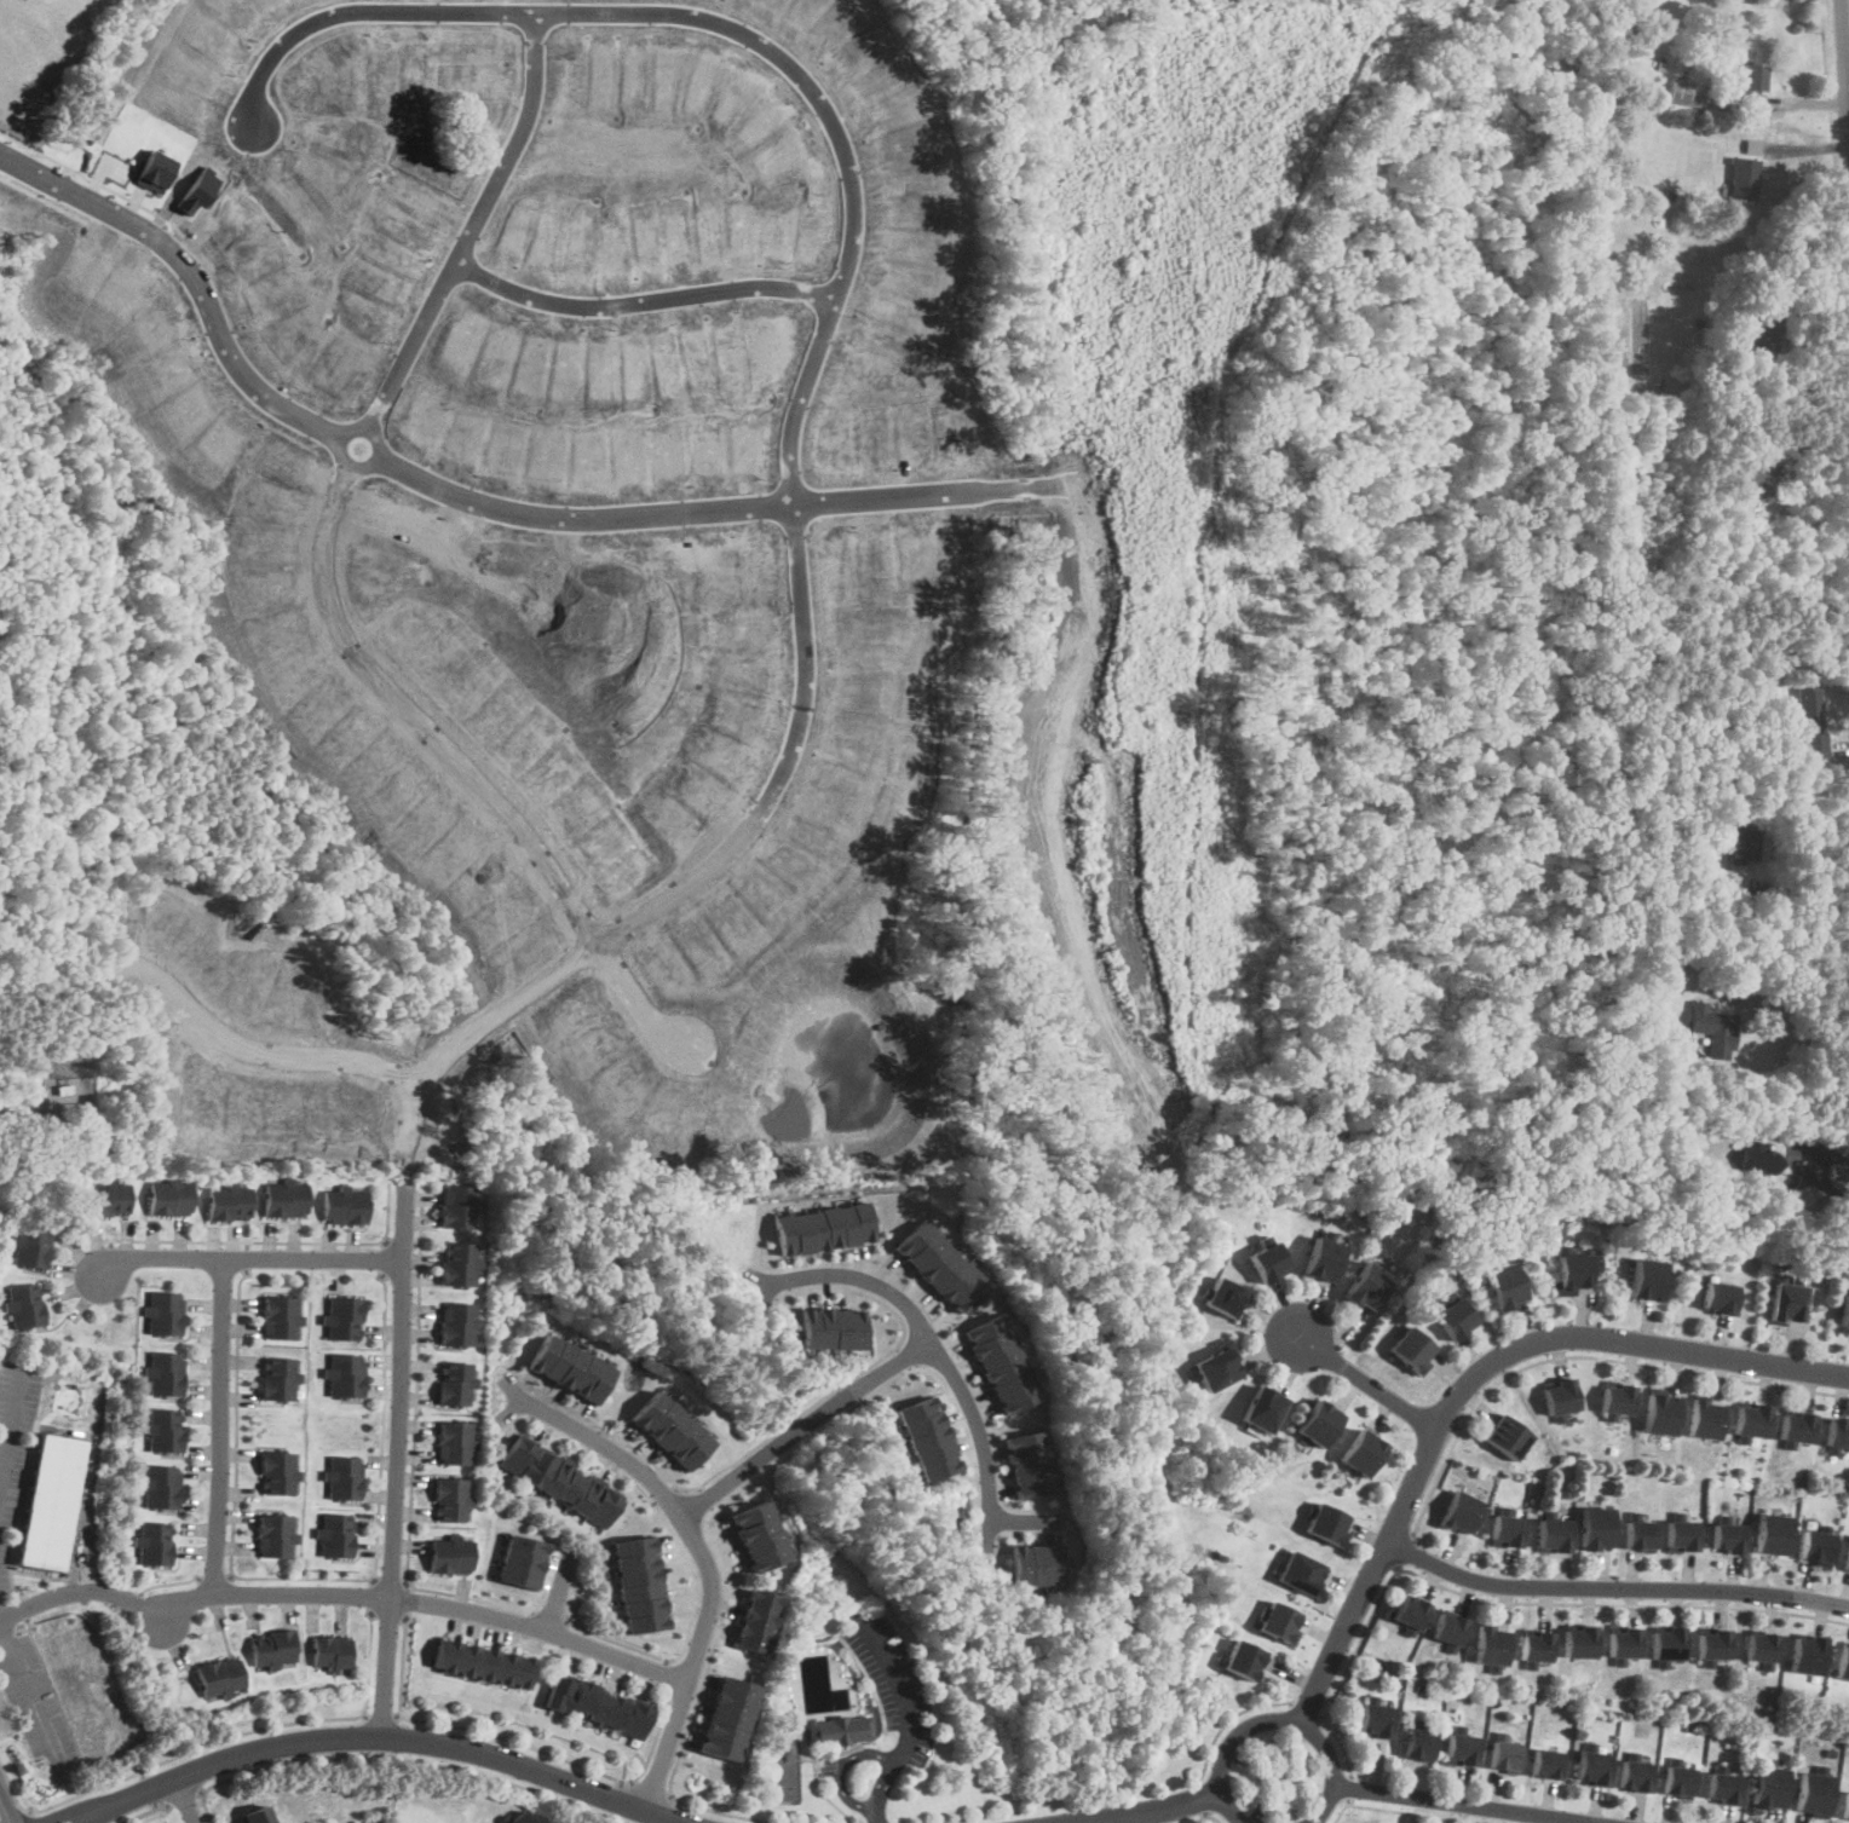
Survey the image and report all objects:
building: (10, 8)
road: (722, 27)
road: (1845, 40)
road: (1848, 47)
building: (1752, 76)
building: (1682, 91)
building: (1743, 179)
road: (465, 233)
road: (637, 304)
building: (1761, 336)
road: (410, 472)
building: (1753, 472)
building: (1808, 709)
road: (466, 756)
building: (1743, 846)
road: (1805, 890)
building: (1713, 1029)
road: (1801, 1029)
road: (449, 1040)
building: (1753, 1147)
road: (1828, 1192)
building: (104, 1198)
building: (167, 1198)
building: (283, 1199)
building: (226, 1202)
building: (341, 1206)
building: (454, 1207)
building: (824, 1227)
road: (272, 1241)
road: (402, 1241)
building: (29, 1245)
road: (247, 1254)
road: (384, 1256)
road: (247, 1258)
building: (1321, 1260)
building: (1265, 1263)
building: (455, 1264)
building: (941, 1265)
building: (1573, 1273)
building: (1646, 1280)
building: (1504, 1286)
building: (1366, 1287)
building: (1222, 1296)
building: (1718, 1298)
building: (1790, 1303)
building: (24, 1304)
building: (163, 1311)
building: (1844, 1315)
building: (277, 1317)
building: (341, 1319)
building: (1453, 1320)
building: (453, 1322)
building: (830, 1326)
road: (935, 1349)
building: (1411, 1350)
road: (1582, 1355)
road: (903, 1356)
building: (1000, 1361)
building: (565, 1367)
building: (1212, 1369)
building: (165, 1372)
building: (342, 1373)
building: (275, 1377)
road: (1475, 1378)
building: (450, 1381)
road: (1371, 1385)
building: (1559, 1397)
building: (1615, 1400)
building: (1261, 1410)
building: (1659, 1415)
building: (1705, 1419)
road: (11, 1420)
building: (1751, 1420)
building: (1317, 1424)
road: (218, 1425)
road: (802, 1426)
building: (667, 1427)
building: (1795, 1427)
building: (162, 1429)
road: (773, 1431)
road: (964, 1433)
building: (1837, 1435)
building: (924, 1437)
building: (1505, 1437)
building: (450, 1442)
road: (410, 1454)
building: (1360, 1454)
building: (1027, 1463)
building: (272, 1471)
building: (339, 1477)
building: (559, 1479)
building: (157, 1485)
road: (664, 1495)
building: (448, 1498)
road: (703, 1498)
building: (52, 1501)
building: (1459, 1510)
road: (659, 1513)
road: (1023, 1517)
building: (1324, 1522)
building: (1596, 1527)
building: (1505, 1529)
building: (756, 1533)
building: (1553, 1533)
building: (1640, 1533)
building: (1772, 1533)
building: (270, 1534)
building: (332, 1534)
building: (1682, 1534)
building: (1728, 1536)
building: (152, 1542)
building: (1816, 1545)
road: (1402, 1548)
road: (701, 1550)
building: (449, 1553)
building: (1847, 1557)
building: (520, 1559)
building: (1033, 1560)
building: (1298, 1571)
road: (215, 1577)
road: (298, 1577)
road: (390, 1580)
road: (169, 1582)
building: (638, 1583)
road: (1614, 1586)
road: (371, 1592)
road: (558, 1592)
road: (79, 1593)
road: (408, 1599)
road: (426, 1600)
road: (1619, 1603)
building: (1409, 1610)
road: (388, 1613)
building: (753, 1619)
building: (1278, 1621)
building: (1447, 1627)
road: (611, 1639)
building: (1579, 1640)
road: (1360, 1642)
building: (1624, 1642)
building: (1669, 1643)
building: (1715, 1643)
building: (1491, 1644)
building: (1536, 1644)
building: (1759, 1645)
building: (269, 1648)
building: (328, 1652)
building: (1807, 1654)
building: (1242, 1658)
building: (1843, 1660)
building: (480, 1662)
road: (662, 1673)
building: (218, 1675)
road: (899, 1683)
road: (30, 1691)
building: (595, 1704)
road: (691, 1706)
road: (1308, 1708)
building: (725, 1717)
building: (1375, 1718)
road: (1227, 1719)
road: (1278, 1720)
building: (836, 1729)
road: (246, 1731)
road: (380, 1736)
road: (519, 1741)
building: (1419, 1742)
road: (1342, 1743)
building: (1462, 1747)
building: (1504, 1754)
road: (399, 1758)
building: (1548, 1761)
building: (1595, 1765)
road: (841, 1770)
building: (1637, 1773)
building: (1681, 1778)
road: (12, 1783)
building: (1770, 1784)
building: (1724, 1785)
road: (151, 1787)
road: (651, 1787)
road: (1349, 1787)
road: (880, 1789)
building: (1814, 1792)
road: (1199, 1796)
road: (186, 1798)
road: (188, 1799)
road: (1470, 1804)
building: (1845, 1805)
road: (5, 1806)
road: (1139, 1808)
road: (1341, 1811)
road: (146, 1812)
road: (1418, 1812)
road: (1203, 1813)
building: (257, 1815)
road: (978, 1816)
road: (30, 1817)
road: (1202, 1817)
building: (522, 1818)

